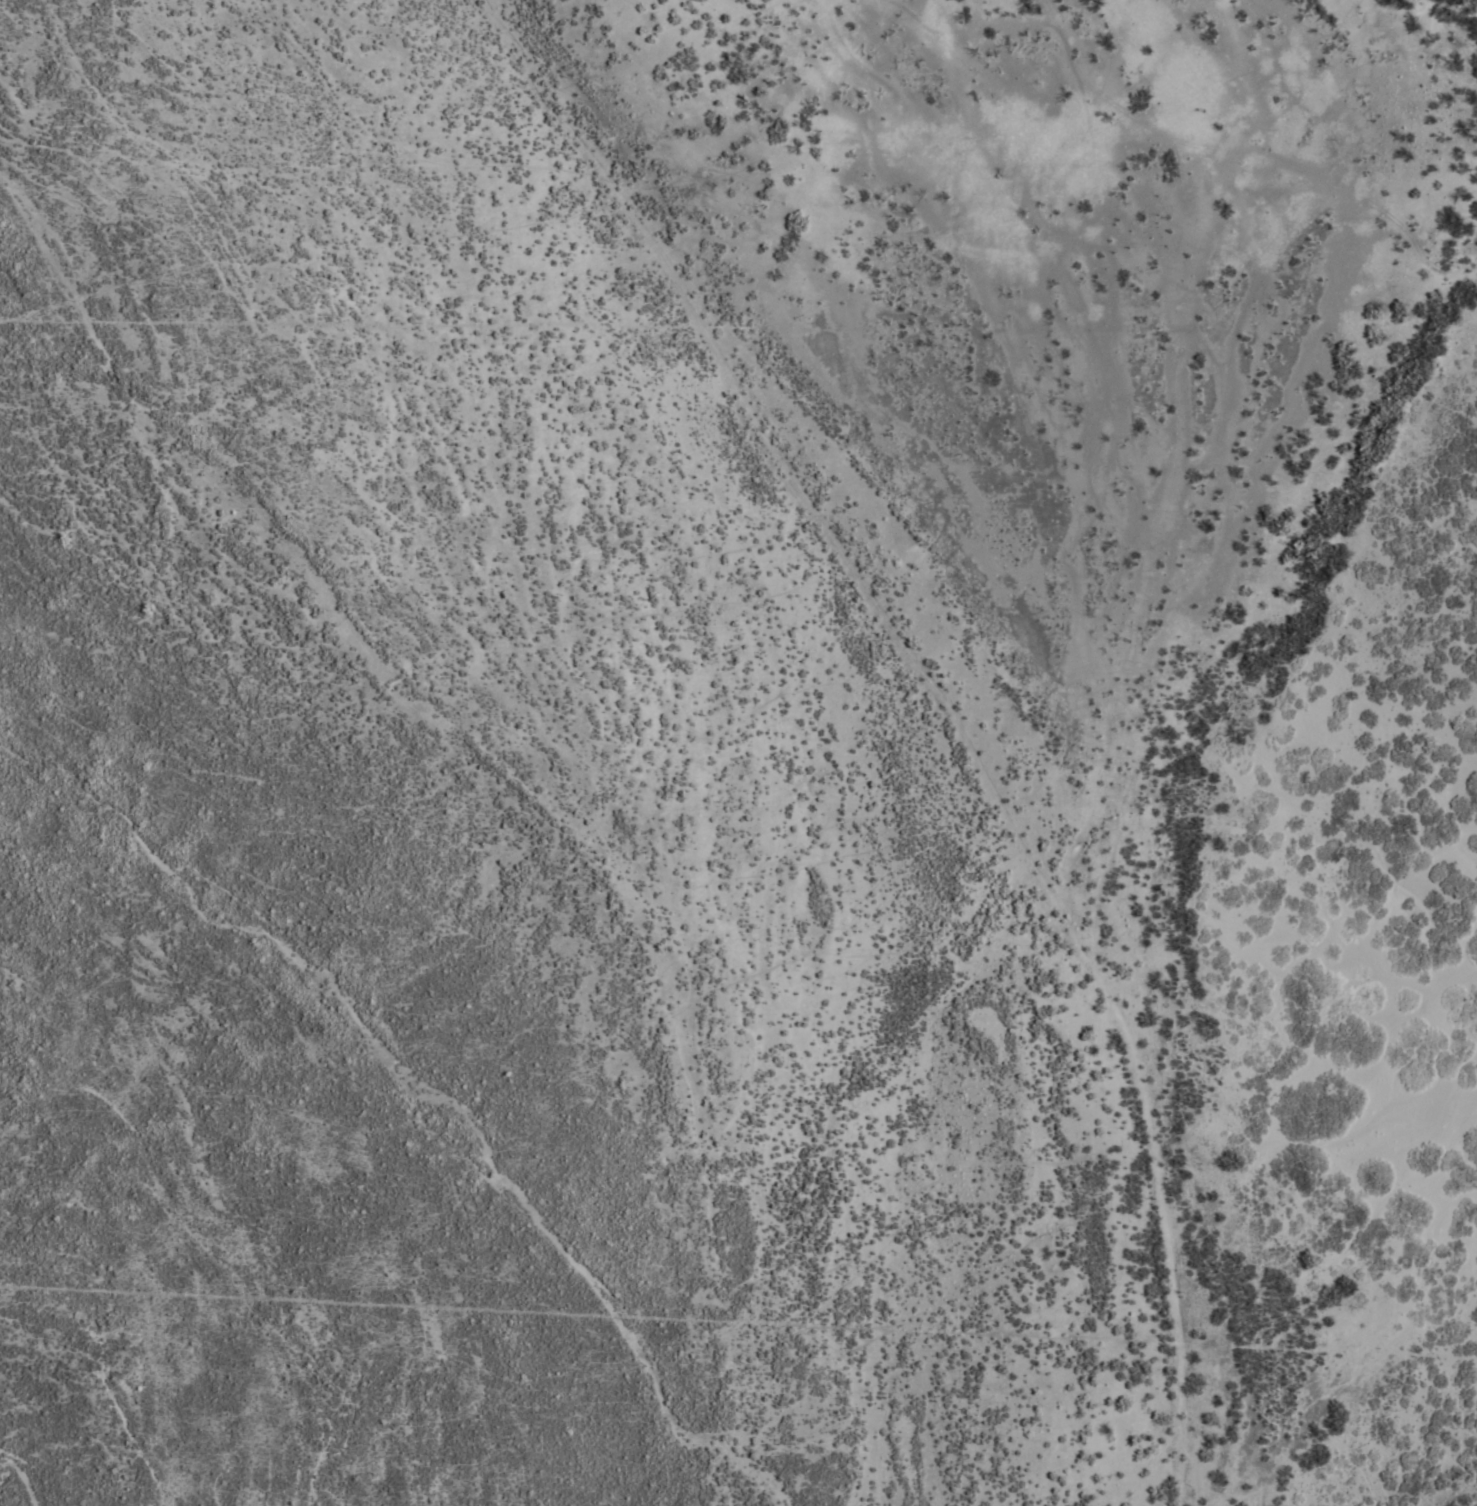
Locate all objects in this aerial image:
road: (1371, 681)

